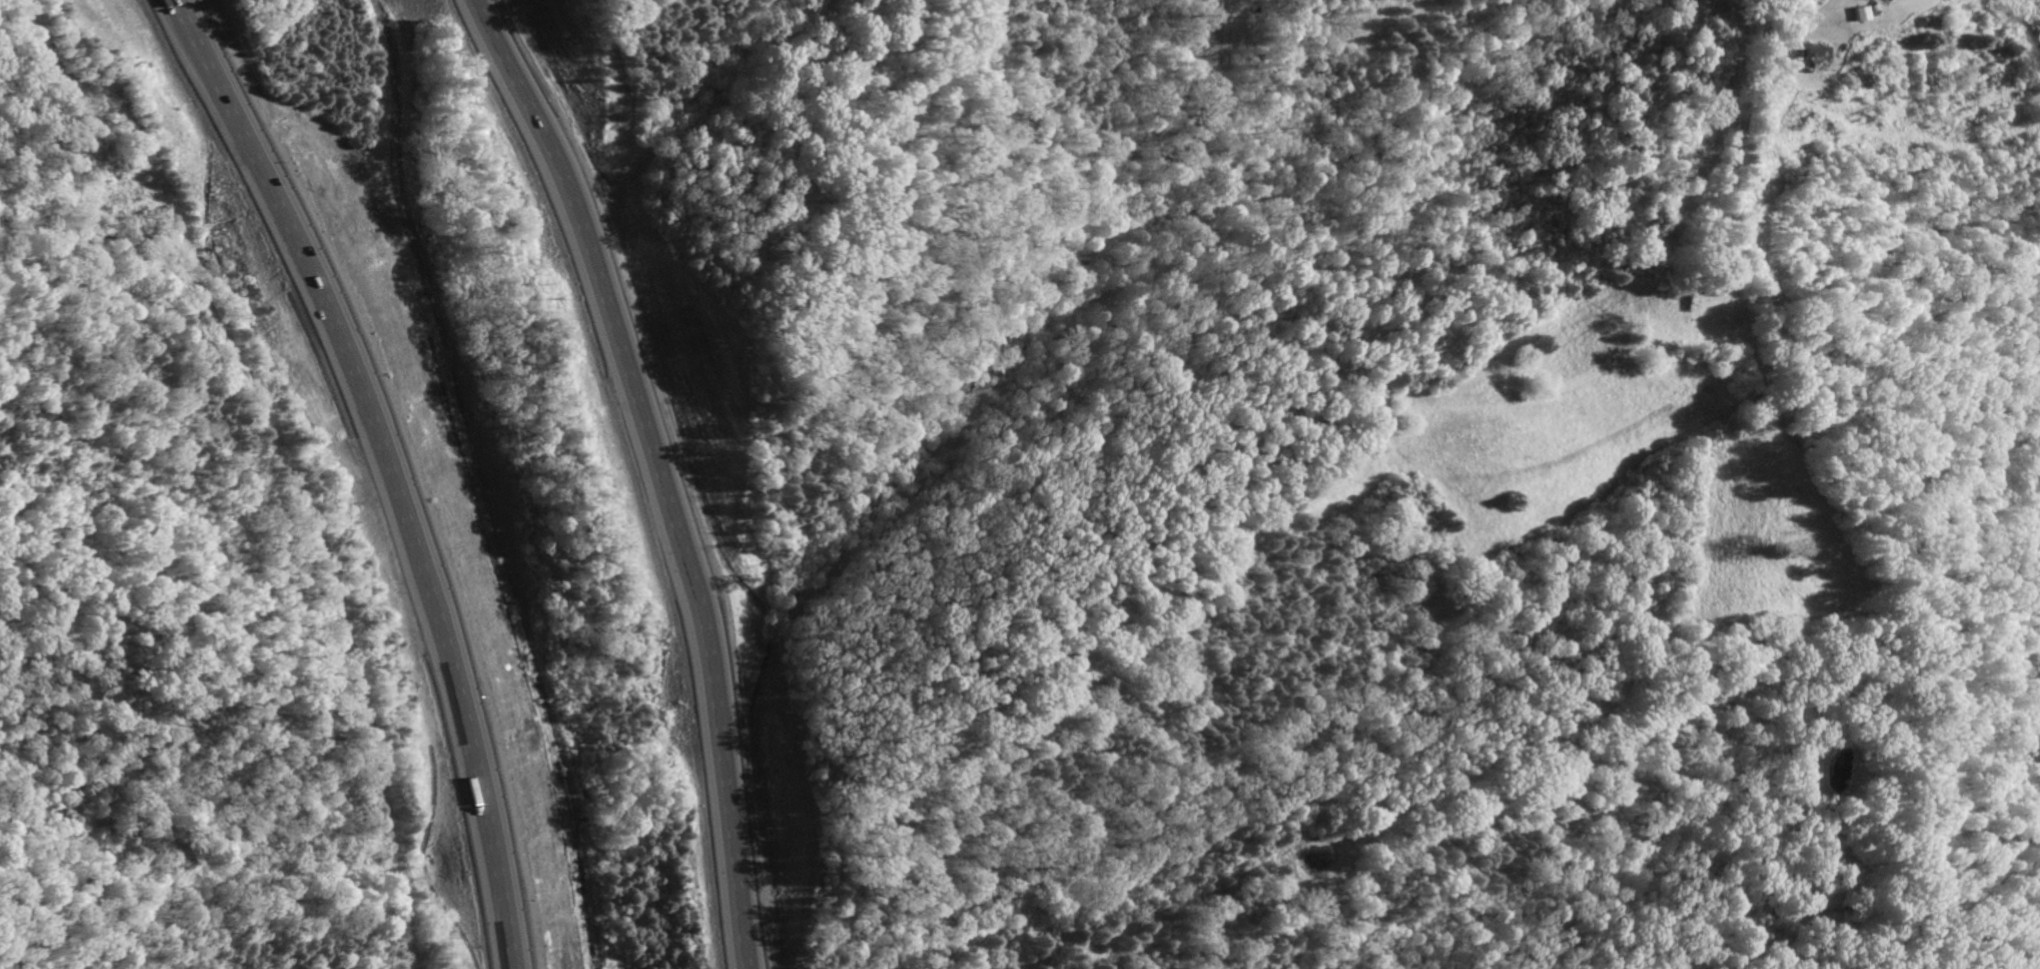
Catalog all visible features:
building: (1810, 52)
road: (382, 466)
road: (663, 471)

